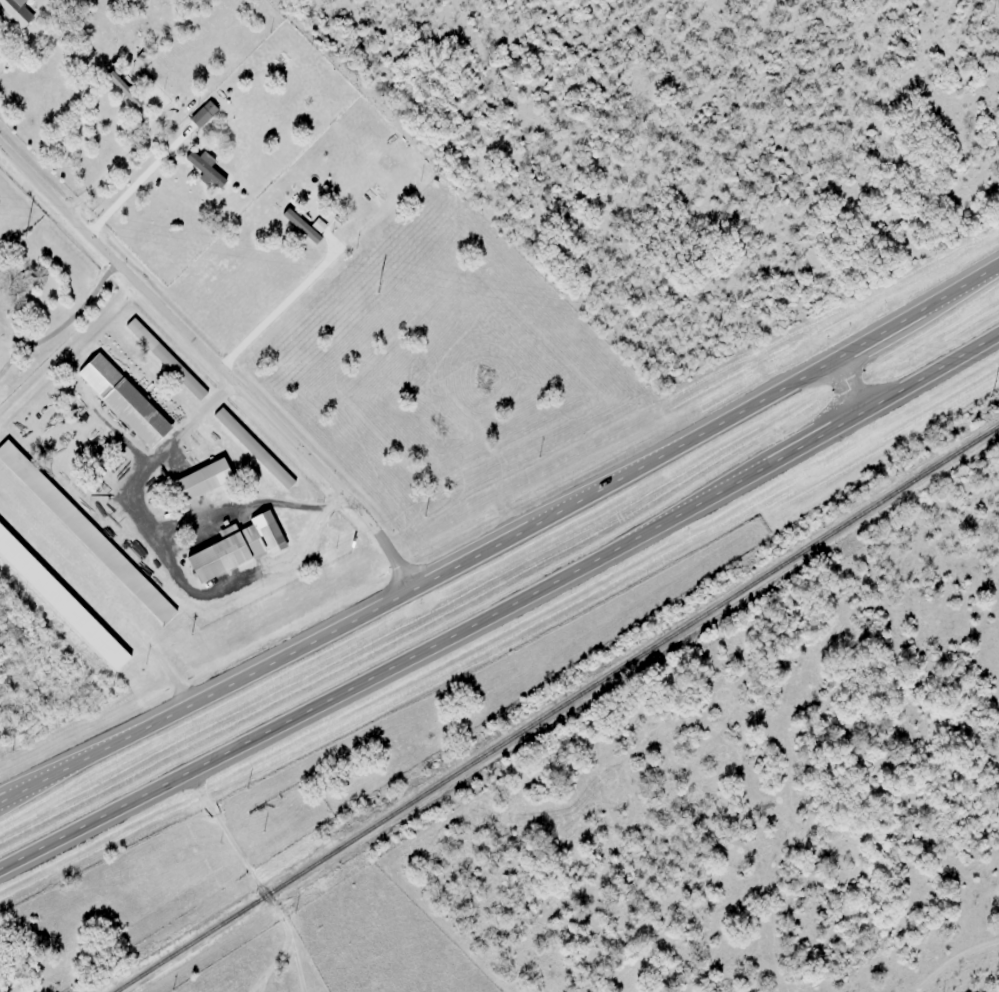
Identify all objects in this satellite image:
building: (14, 13)
building: (201, 114)
building: (202, 165)
building: (304, 225)
power tower: (26, 232)
power tower: (379, 287)
power tower: (716, 340)
road: (214, 360)
road: (851, 391)
building: (120, 400)
building: (252, 448)
building: (200, 479)
building: (32, 481)
road: (499, 545)
building: (231, 551)
building: (60, 606)
road: (502, 610)
railway: (559, 711)

